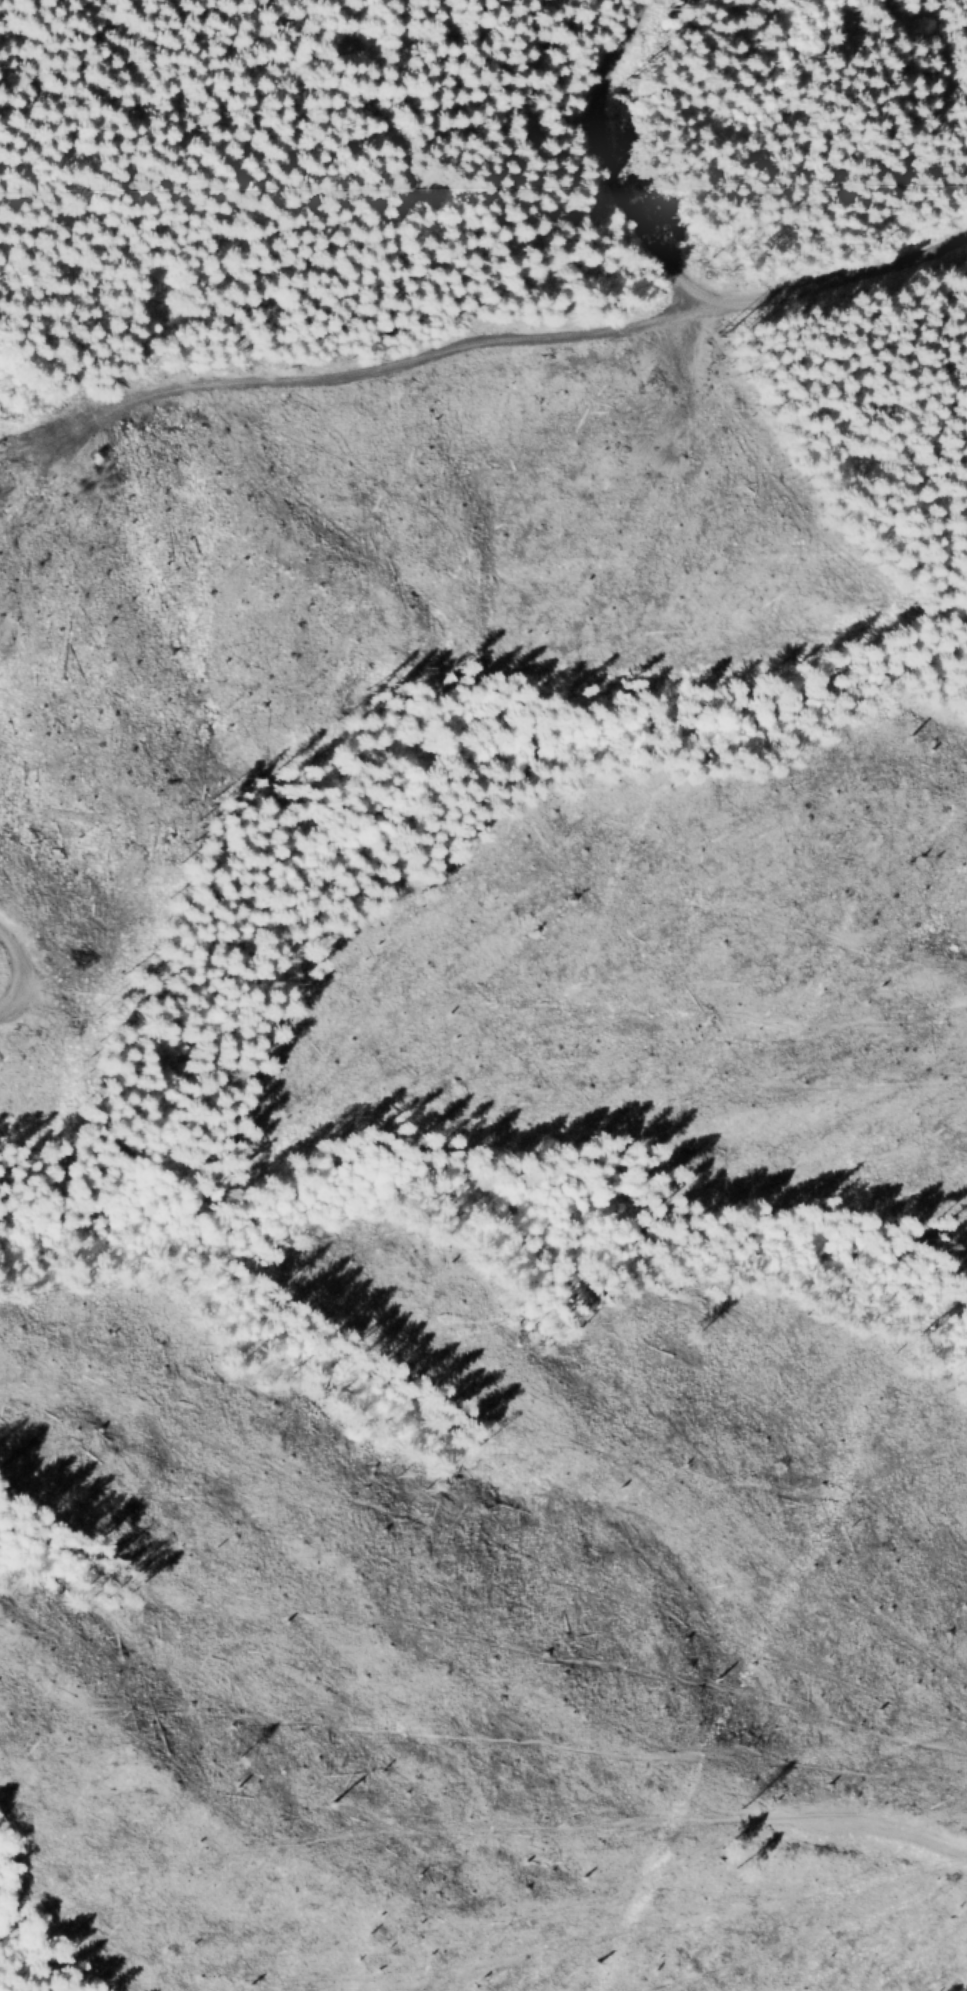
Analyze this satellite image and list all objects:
road: (667, 358)
road: (365, 448)

